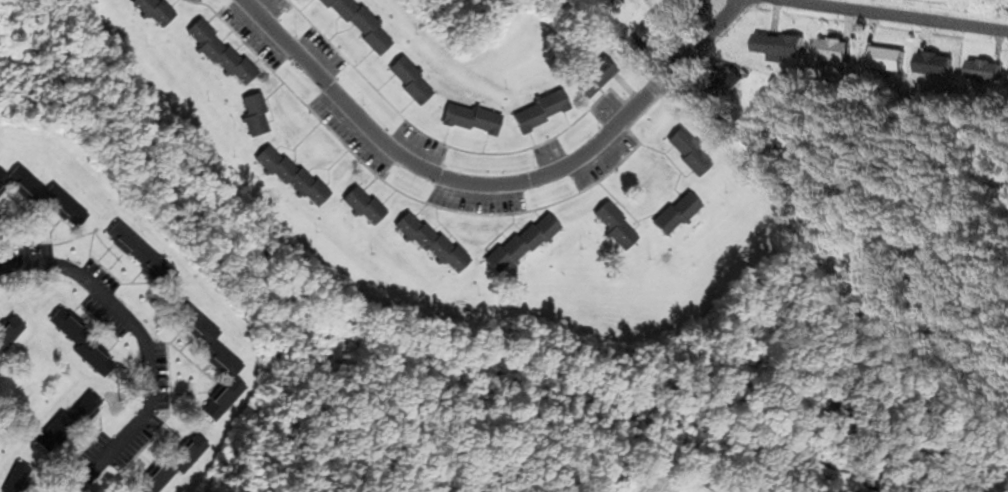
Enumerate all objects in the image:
building: (692, 4)
building: (156, 12)
road: (893, 15)
building: (361, 26)
building: (649, 37)
building: (782, 47)
building: (835, 51)
building: (223, 55)
building: (891, 60)
building: (937, 65)
building: (987, 72)
building: (412, 82)
building: (593, 82)
building: (728, 84)
building: (543, 113)
building: (257, 116)
building: (475, 121)
building: (691, 154)
building: (294, 178)
road: (490, 185)
building: (49, 199)
building: (366, 208)
building: (678, 215)
building: (617, 228)
building: (434, 244)
building: (144, 256)
building: (9, 332)
road: (142, 343)
building: (85, 346)
building: (217, 363)
building: (67, 426)
building: (181, 464)
building: (21, 479)

